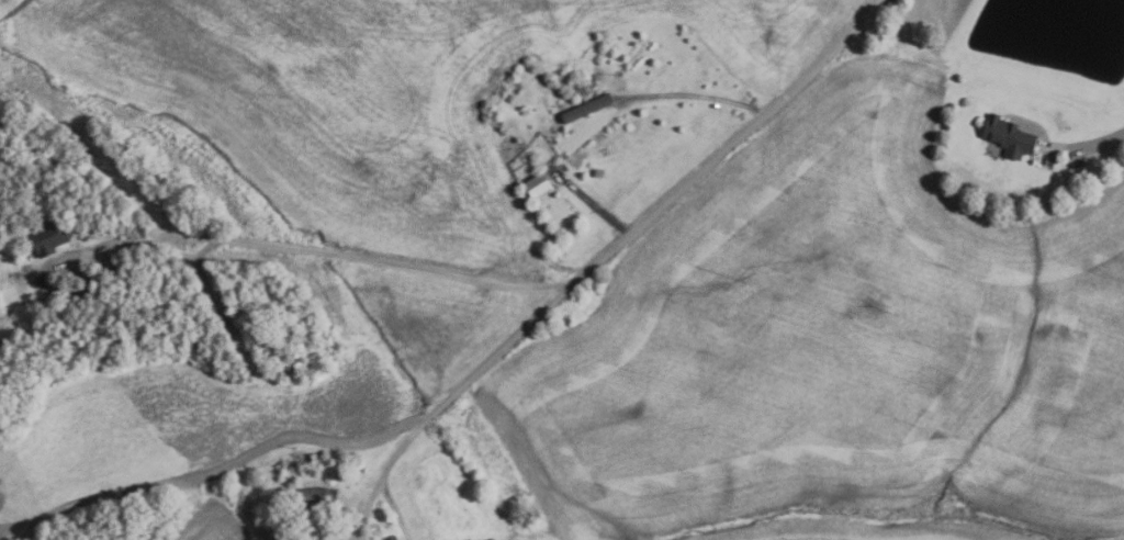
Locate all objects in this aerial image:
building: (571, 137)
building: (1008, 137)
road: (1094, 142)
road: (651, 215)
building: (47, 237)
road: (213, 471)
building: (316, 497)

